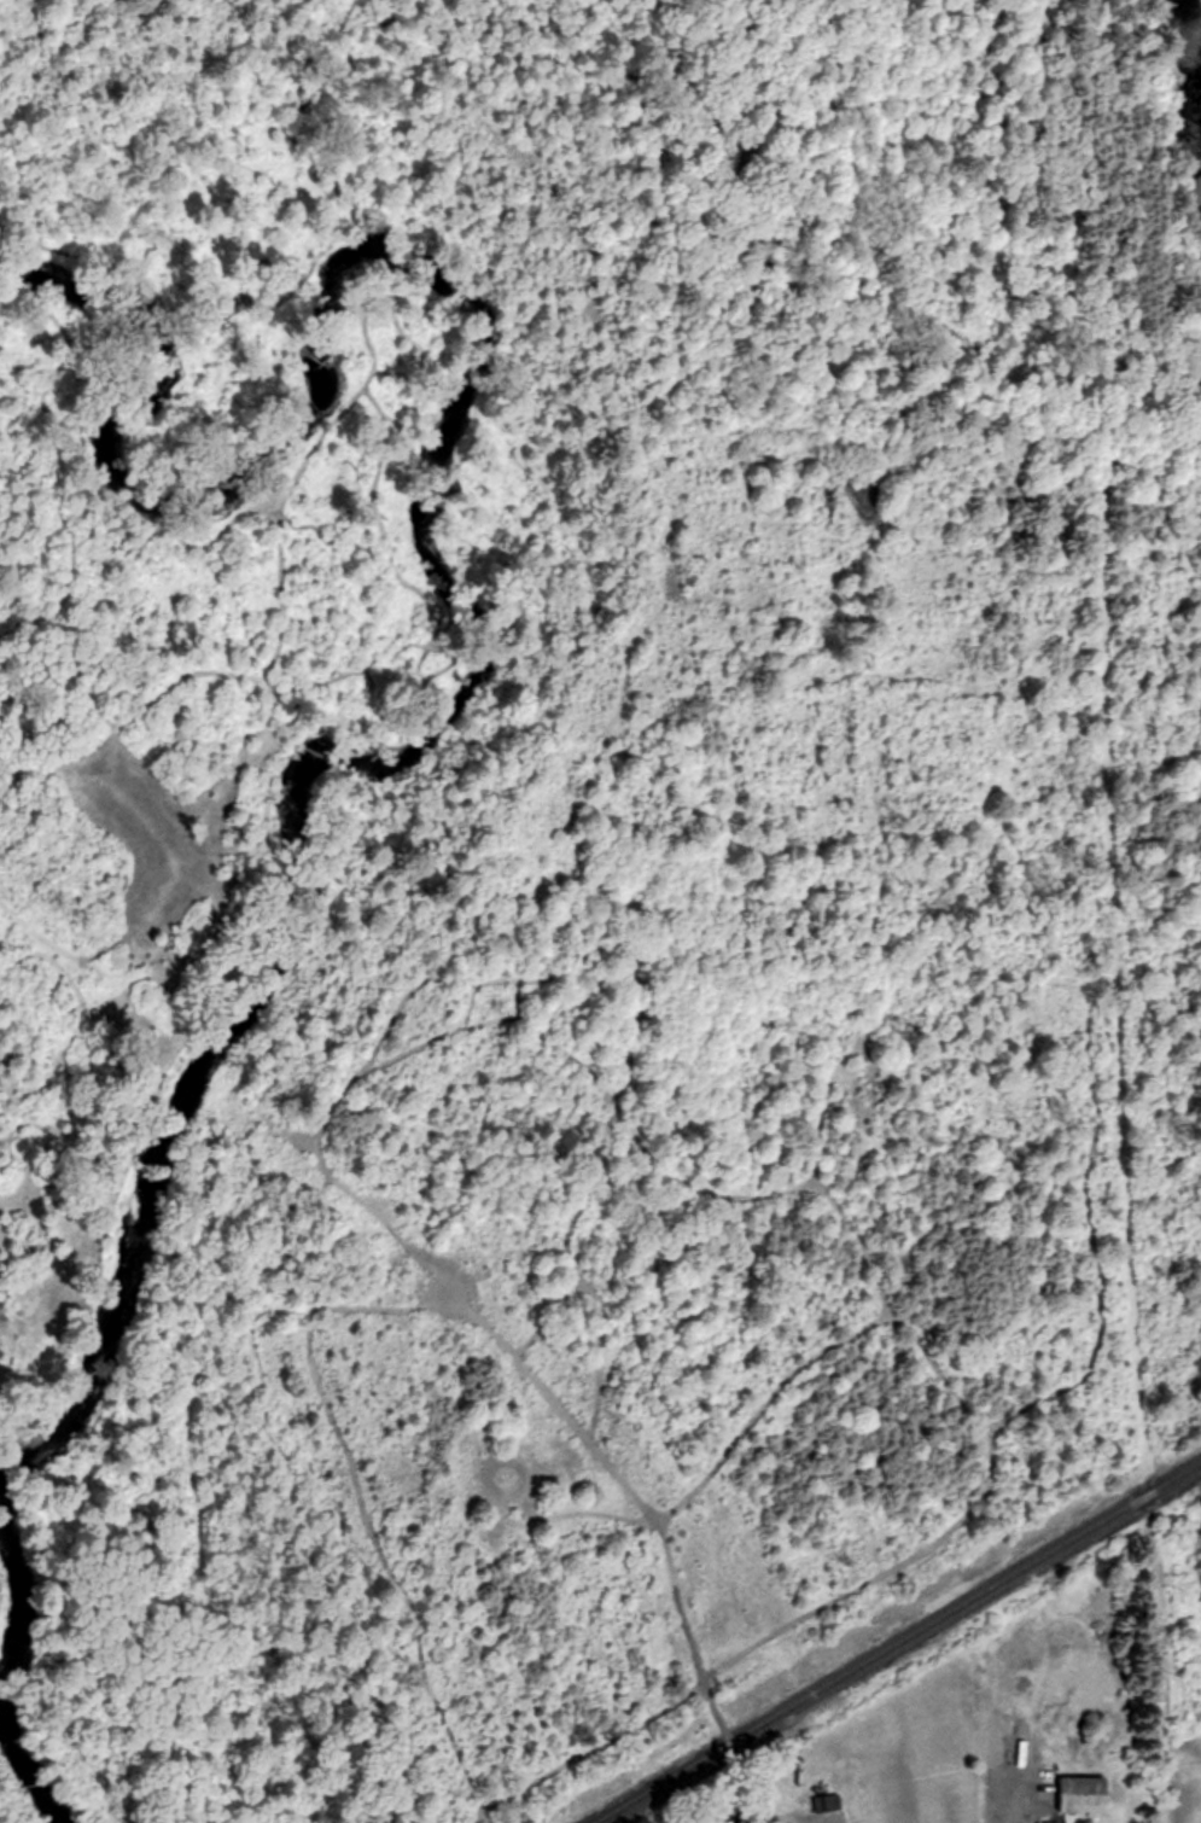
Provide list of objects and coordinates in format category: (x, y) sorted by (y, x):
building: (1061, 1623)
railway: (903, 1648)
building: (1084, 1795)
building: (828, 1804)

